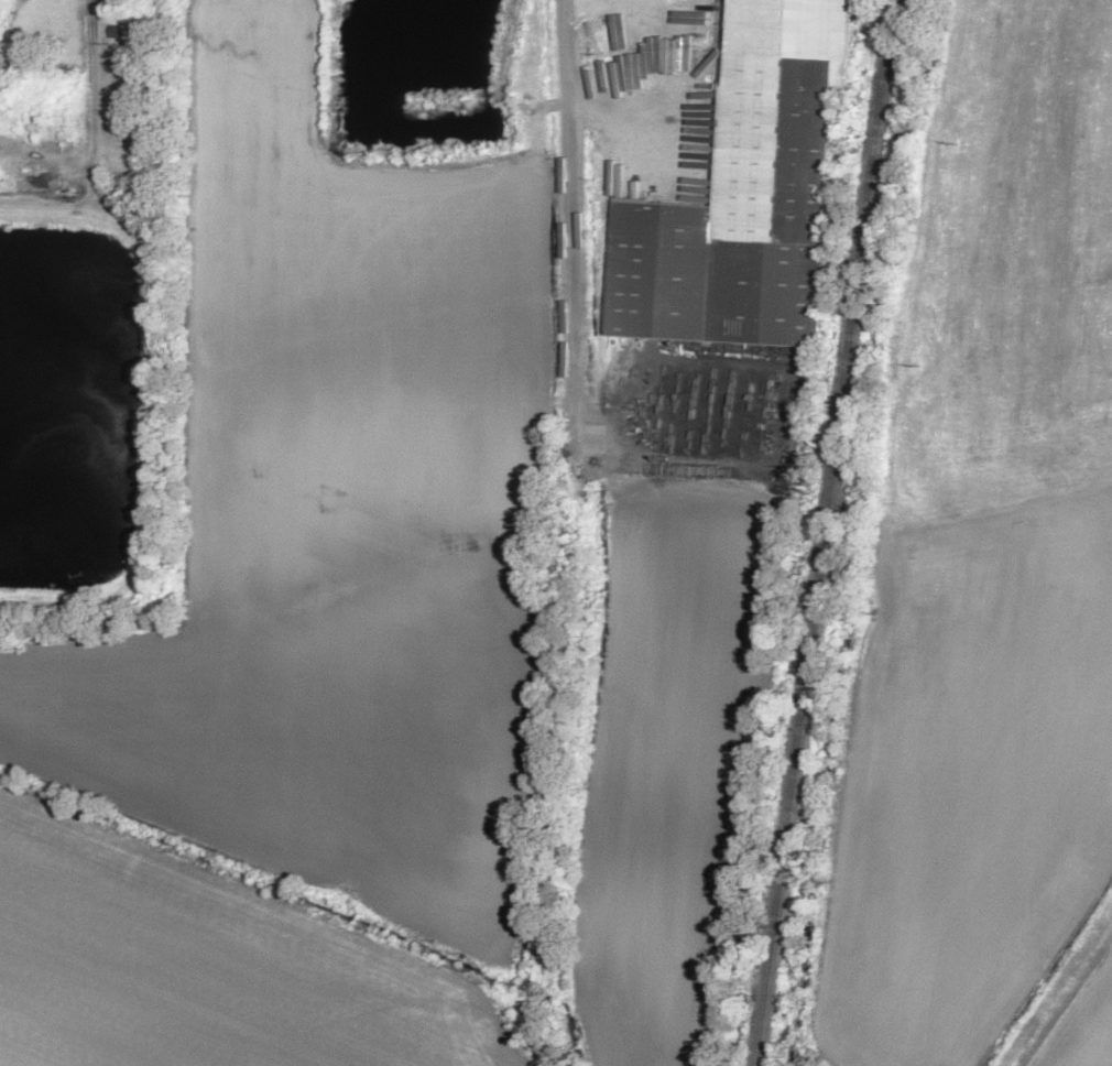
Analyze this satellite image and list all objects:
building: (120, 106)
road: (569, 164)
building: (744, 195)
railway: (821, 533)

